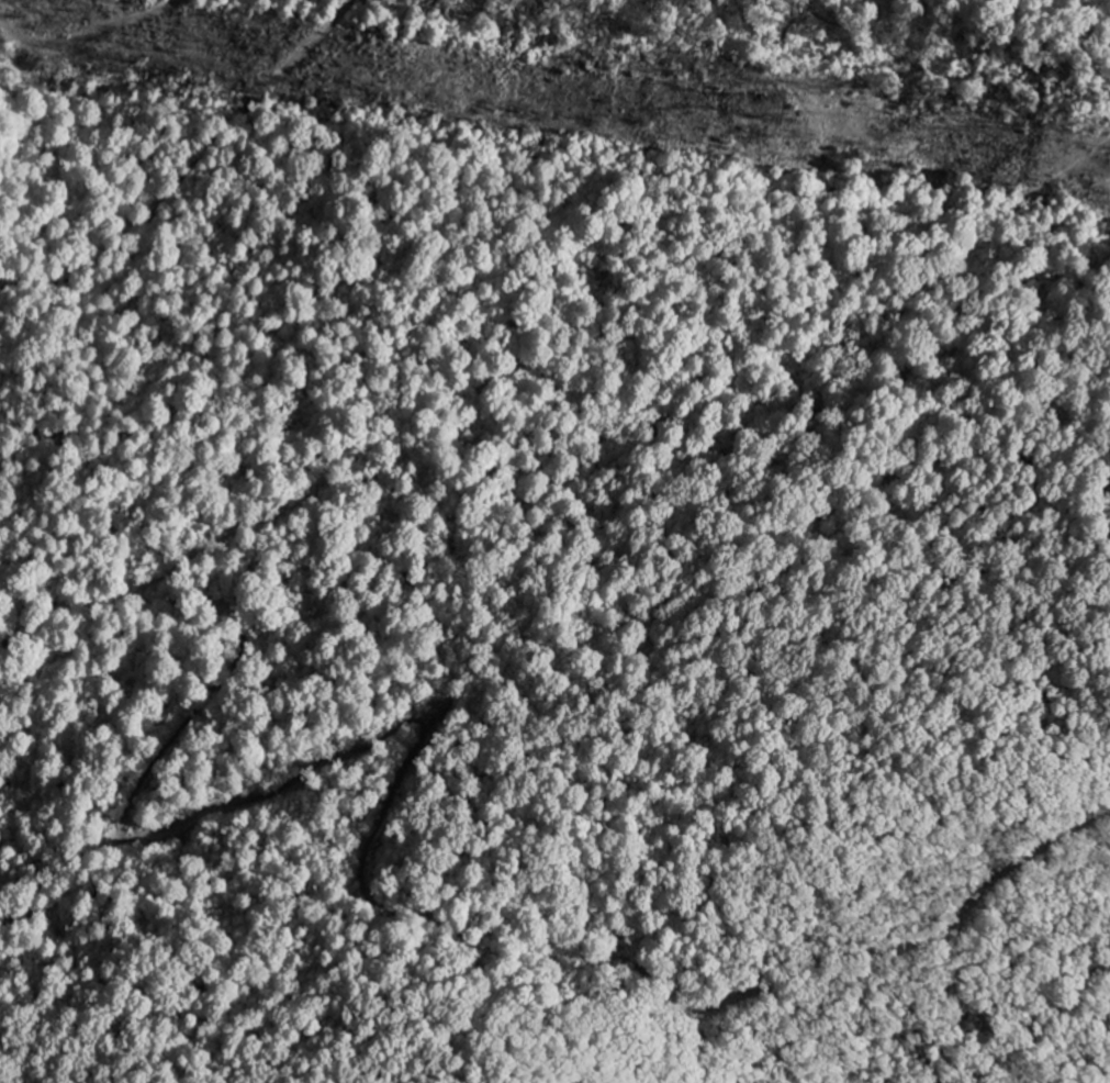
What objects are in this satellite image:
power tower: (776, 104)

